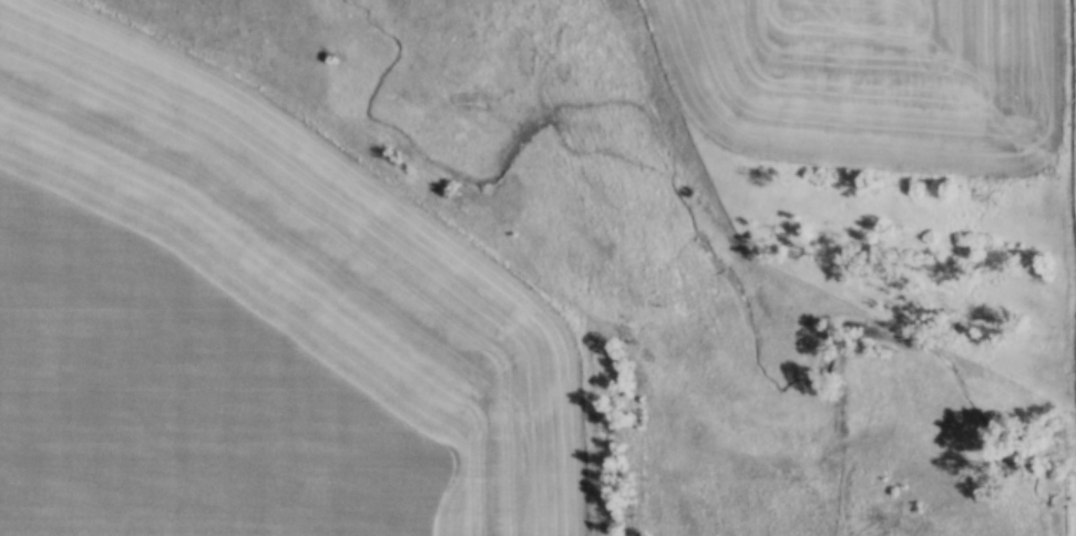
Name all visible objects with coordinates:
crop: (873, 82)
crop: (1072, 104)
crop: (248, 322)

